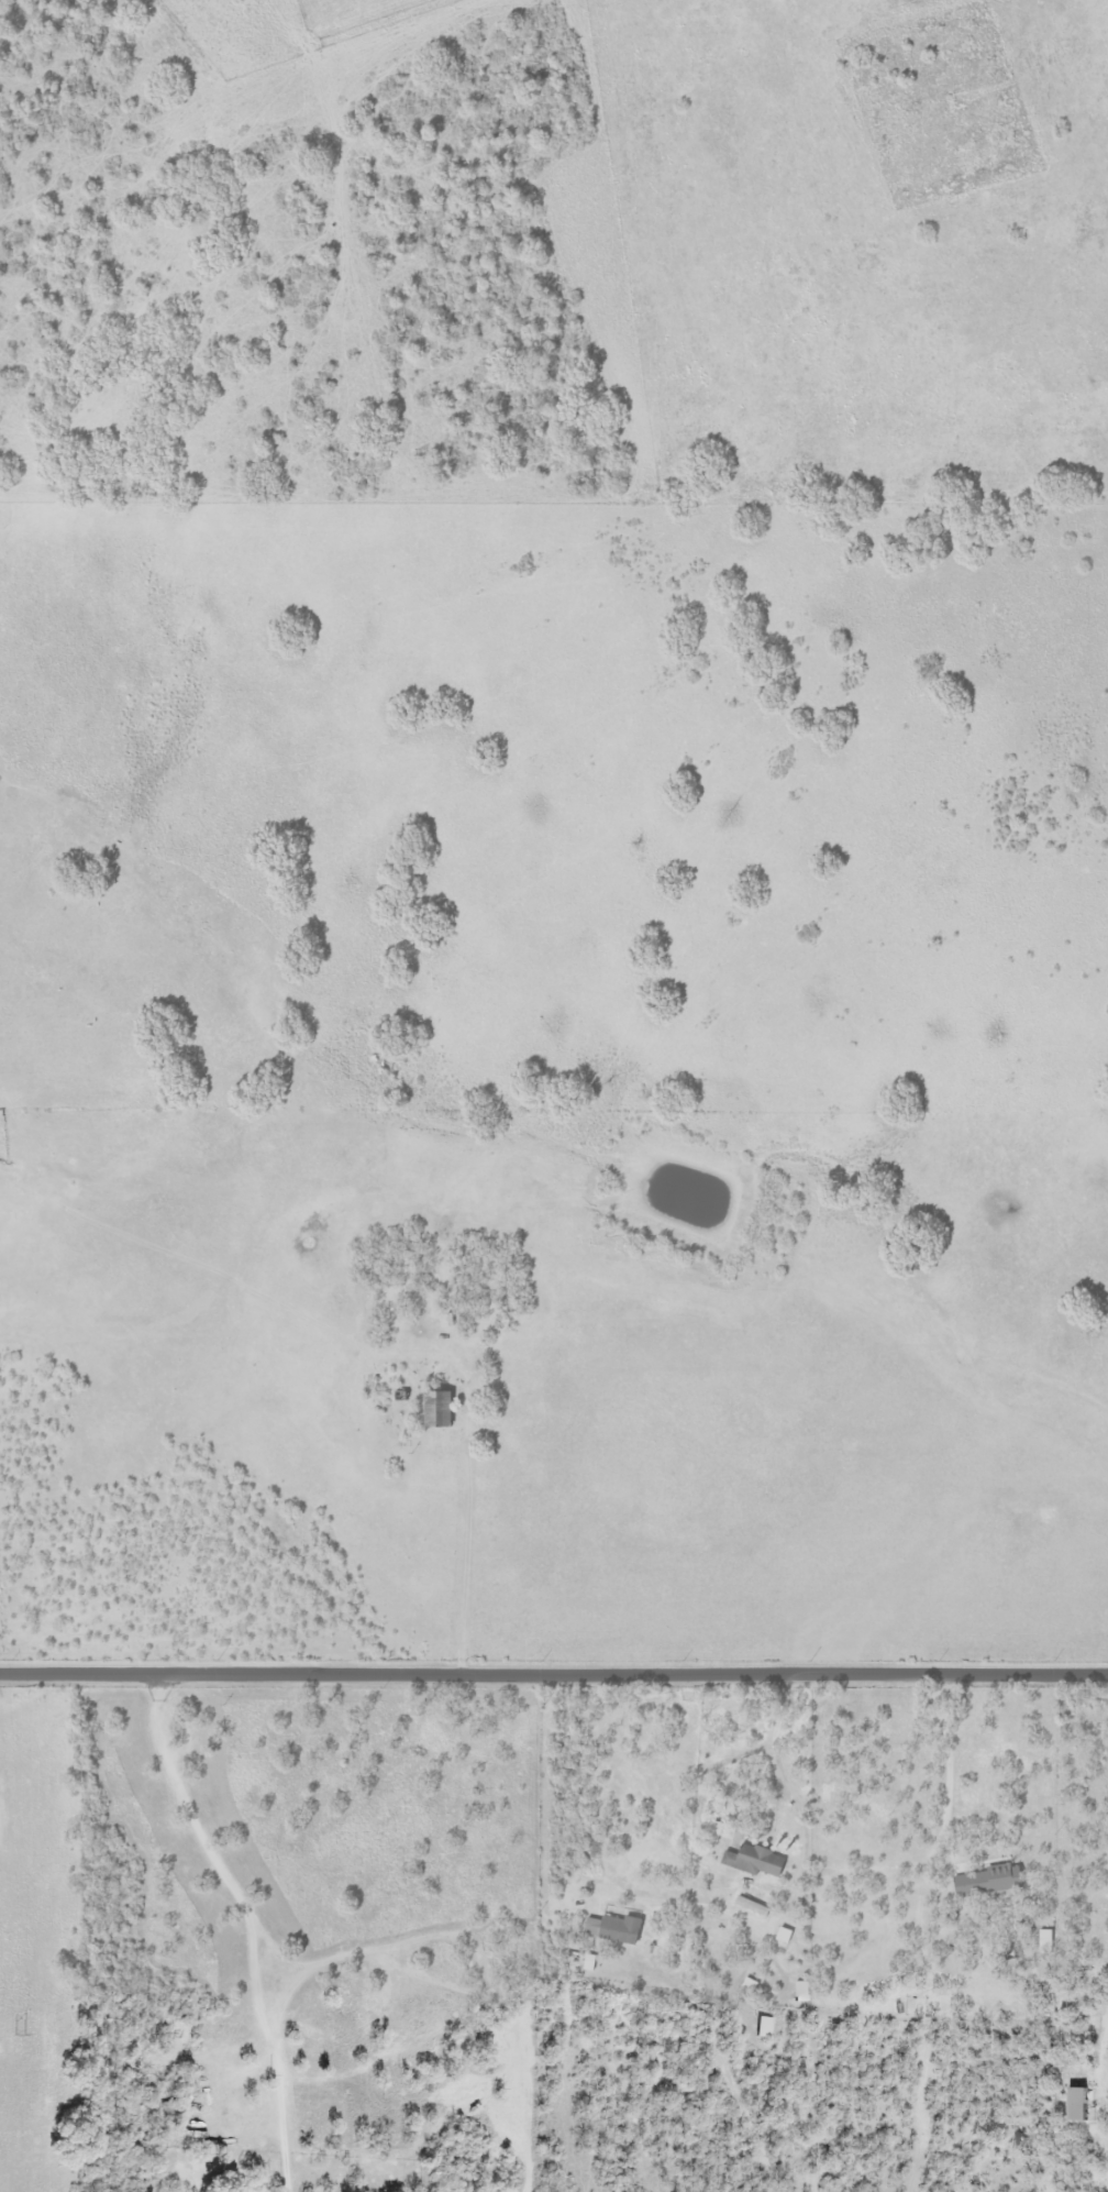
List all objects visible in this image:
building: (435, 1408)
road: (468, 1497)
road: (554, 1677)
road: (946, 1769)
road: (209, 1852)
building: (752, 1860)
road: (797, 1880)
building: (987, 1880)
building: (750, 1905)
building: (611, 1928)
road: (419, 1935)
building: (1044, 1939)
road: (276, 1948)
road: (384, 1983)
building: (799, 1991)
building: (764, 2026)
power tower: (21, 2035)
building: (1075, 2103)
road: (285, 2106)

